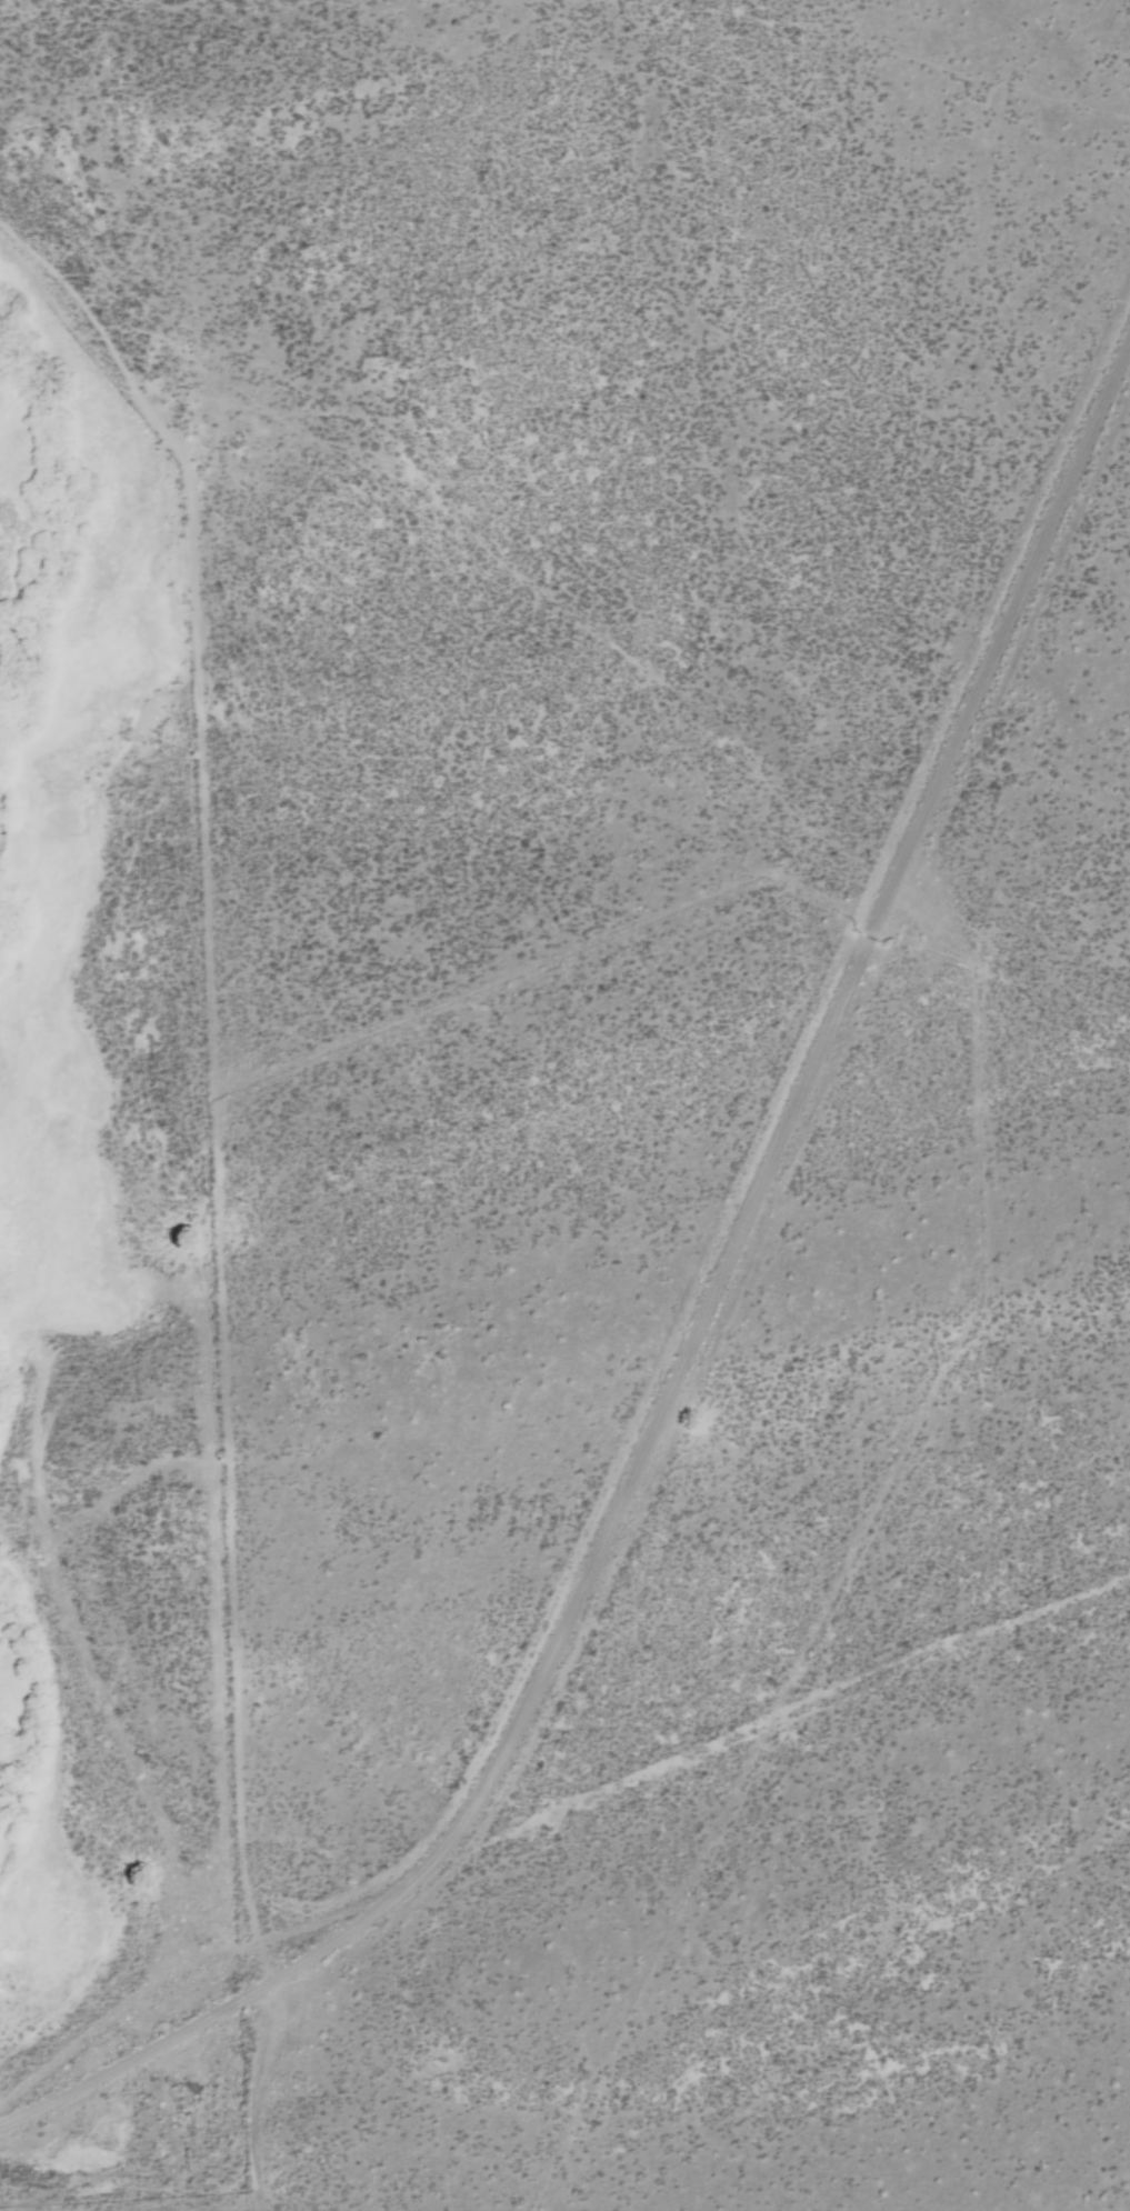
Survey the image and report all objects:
road: (681, 1343)

